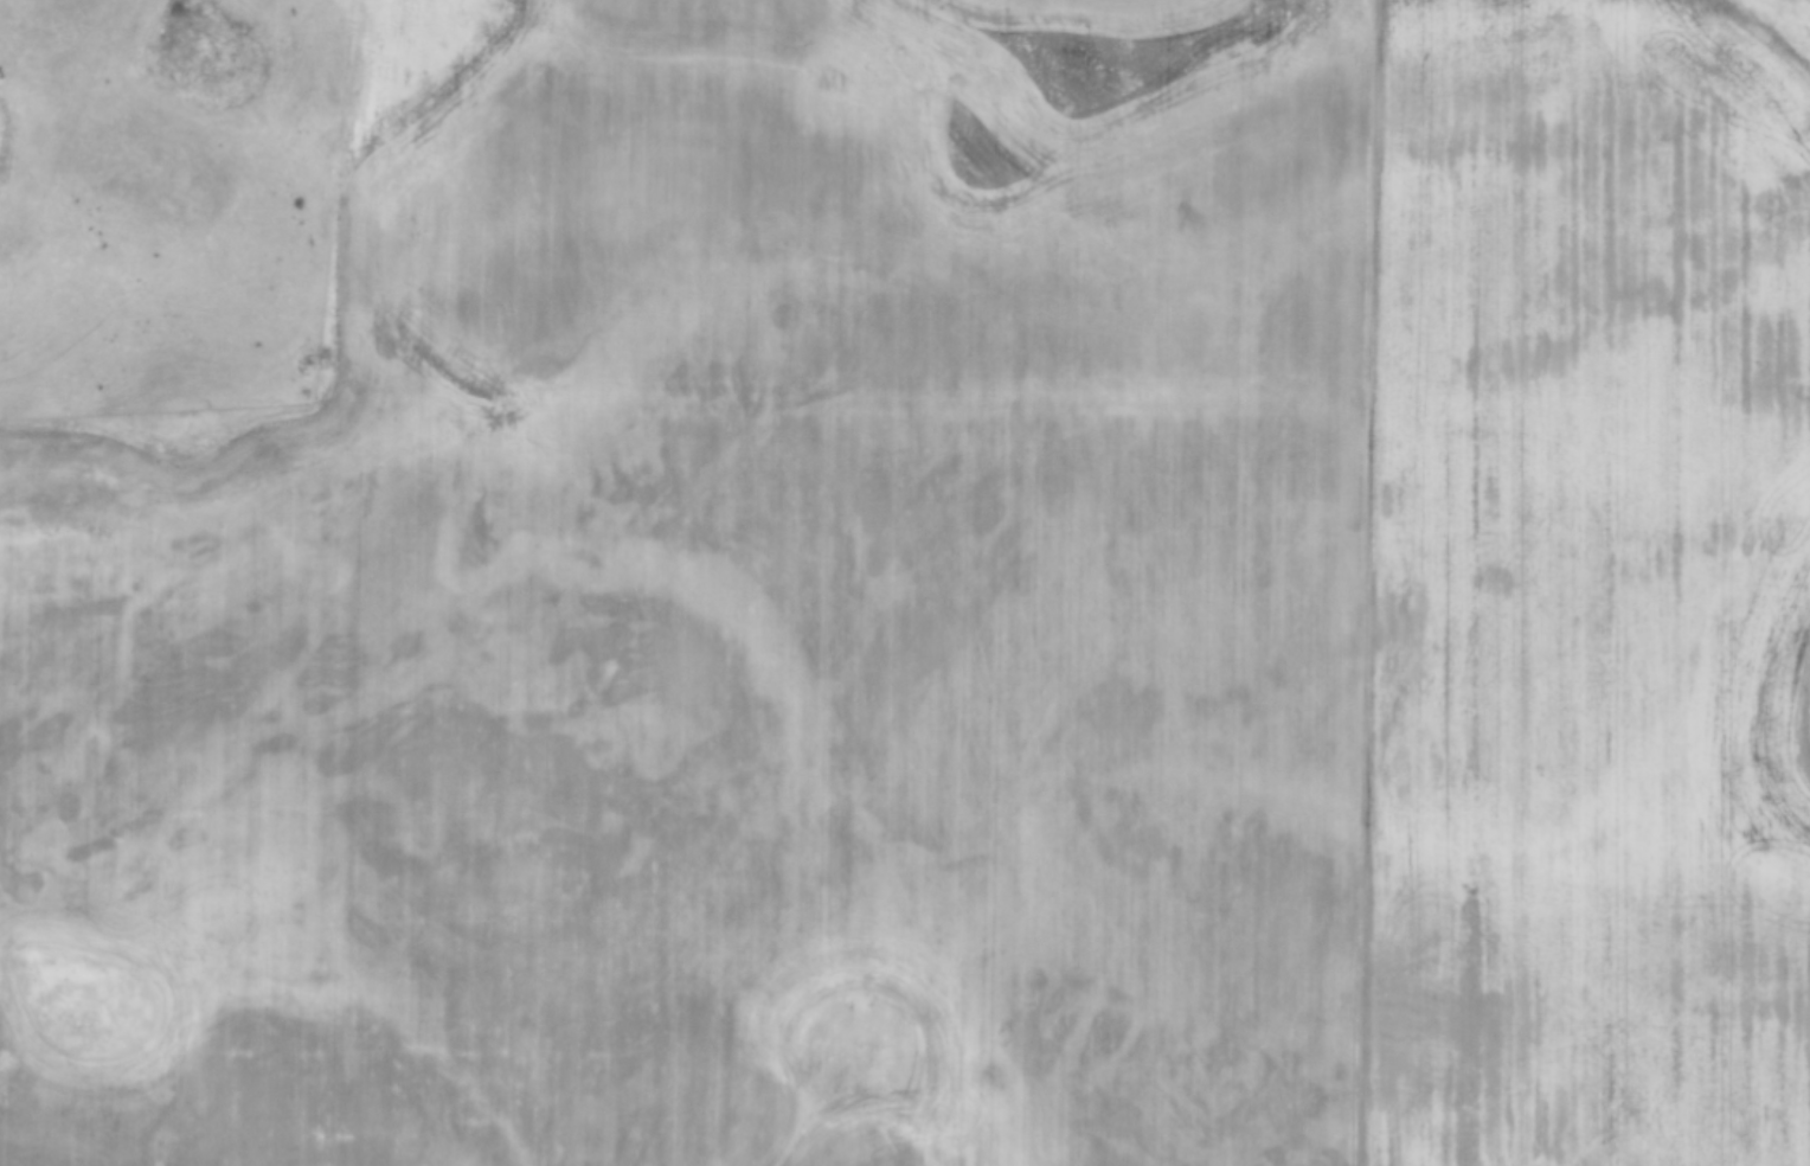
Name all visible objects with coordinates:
road: (1405, 583)

